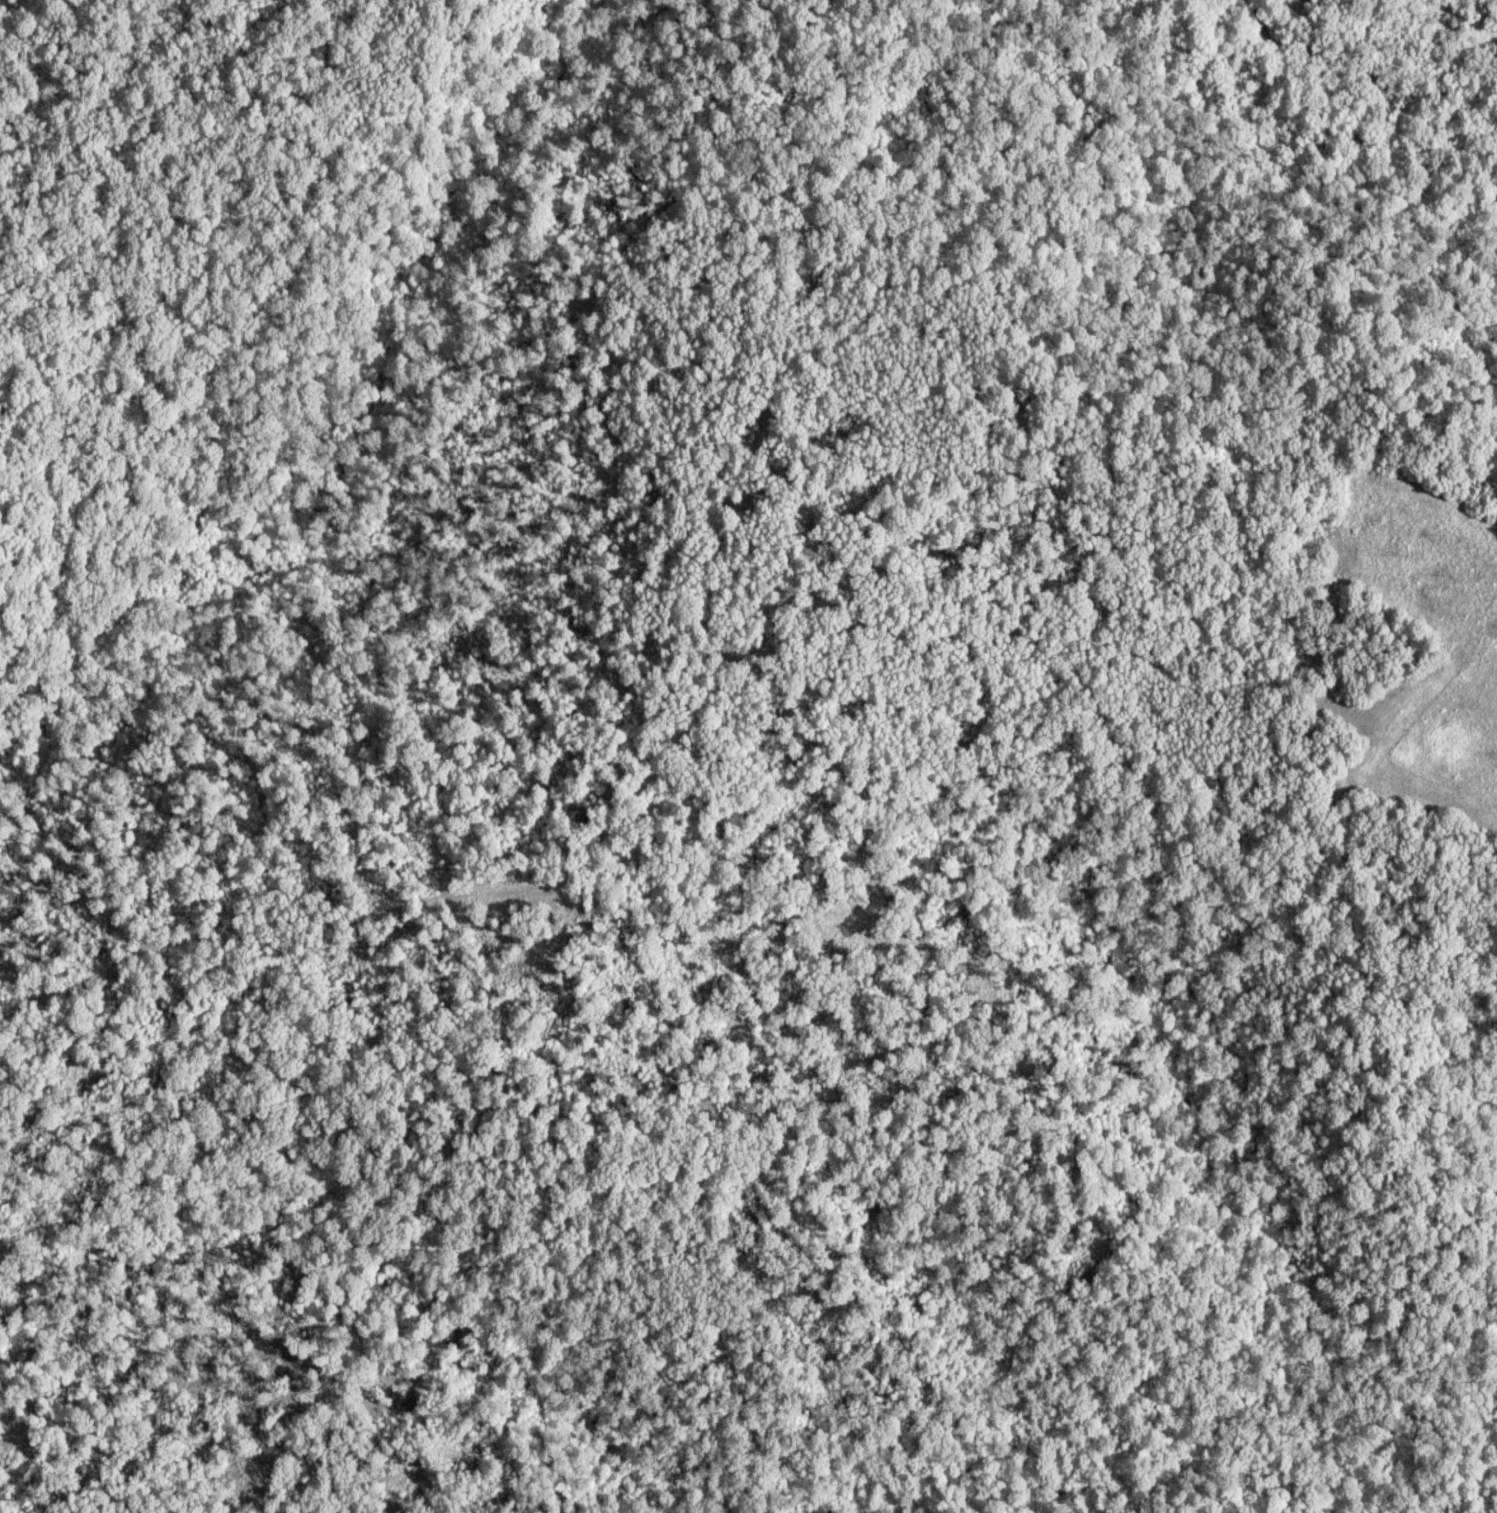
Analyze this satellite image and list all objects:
road: (485, 1491)

